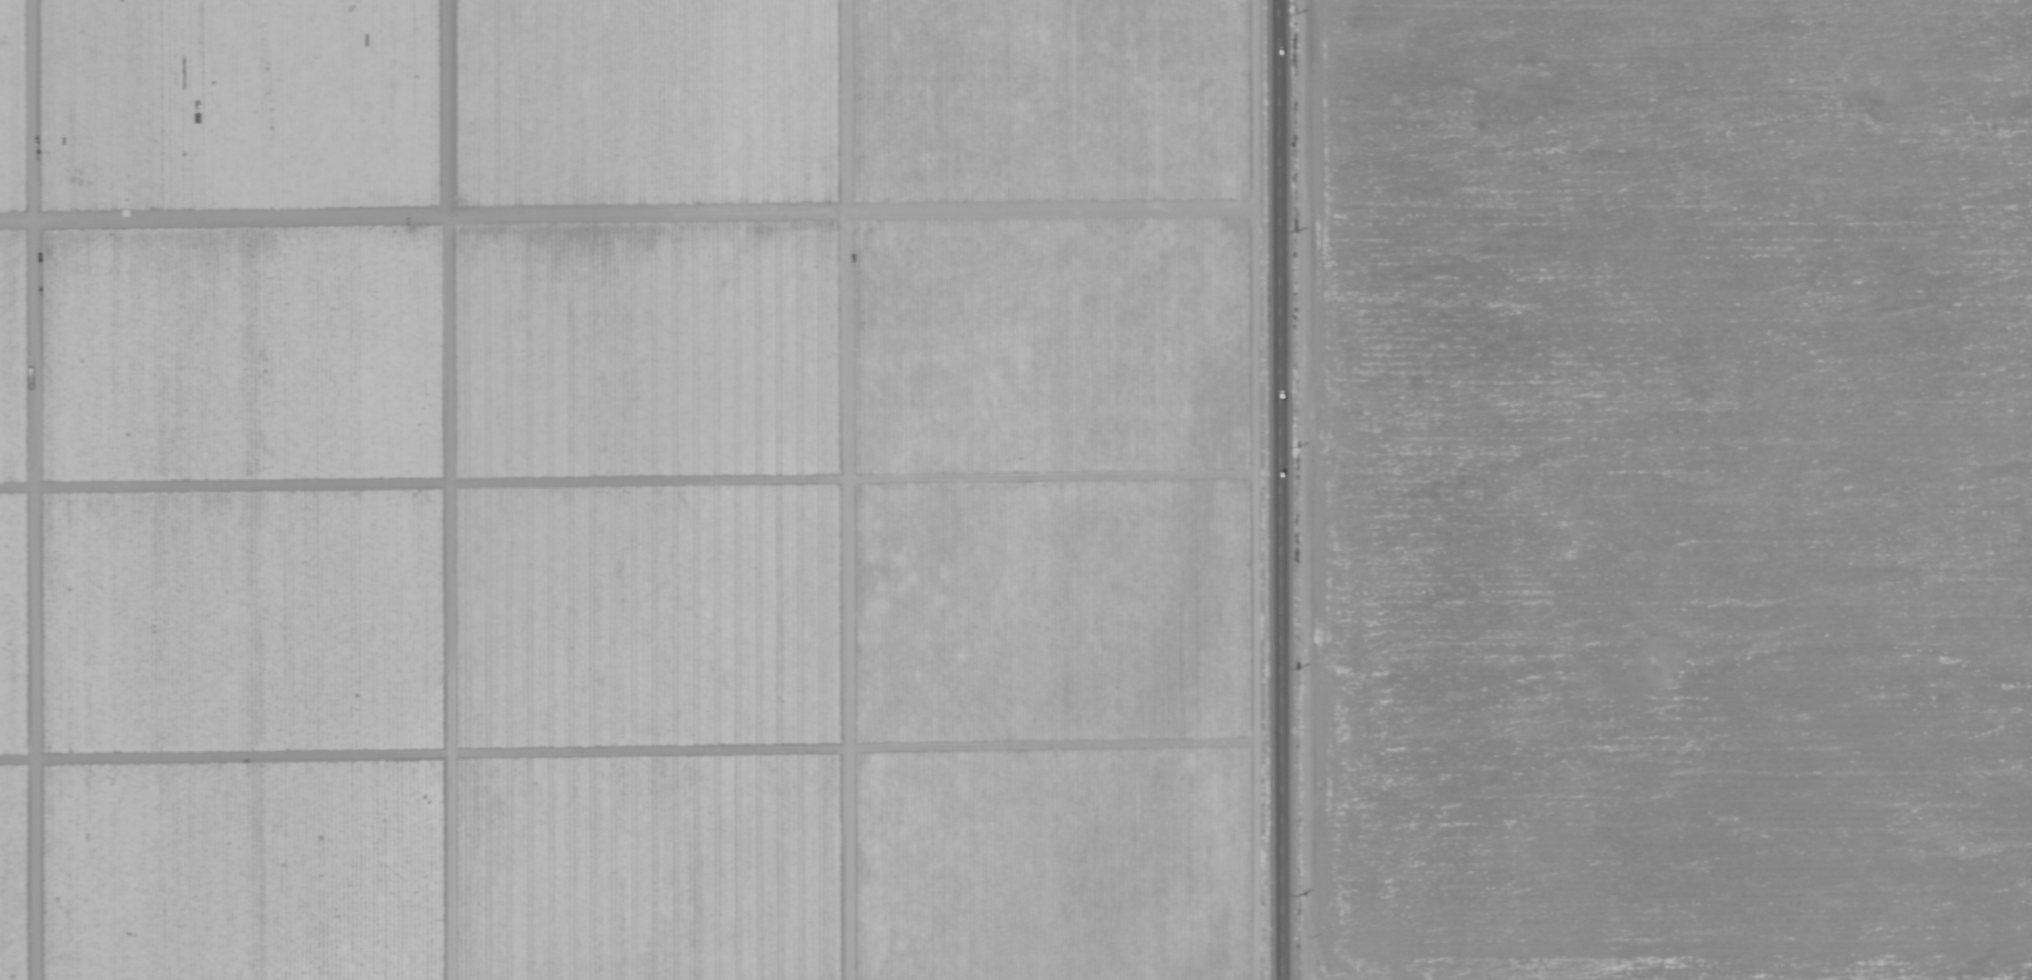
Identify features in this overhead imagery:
road: (1283, 490)

